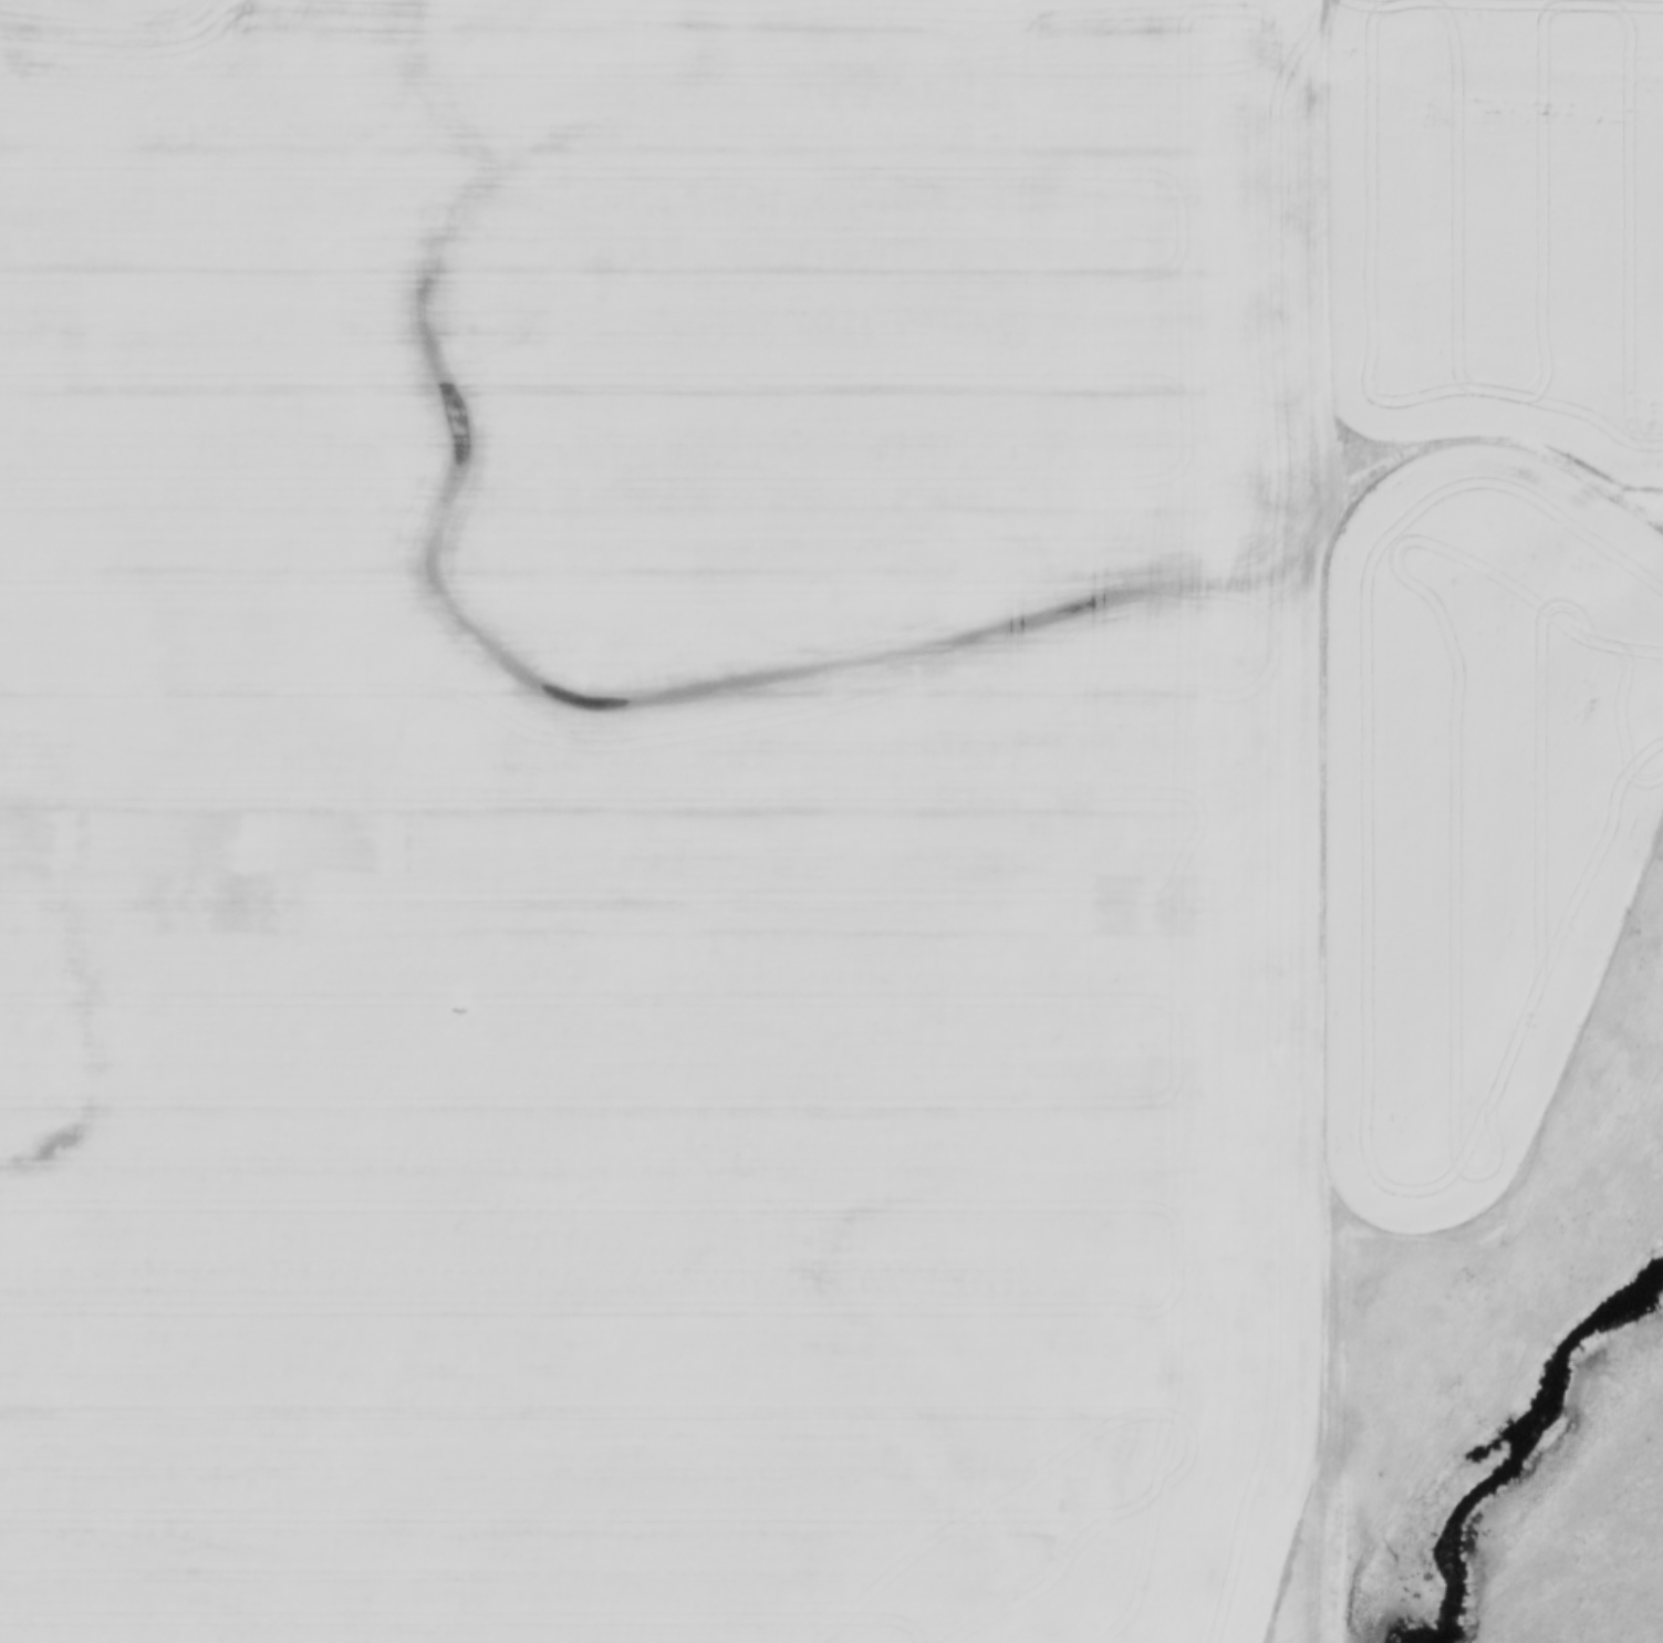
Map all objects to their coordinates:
road: (1326, 822)

